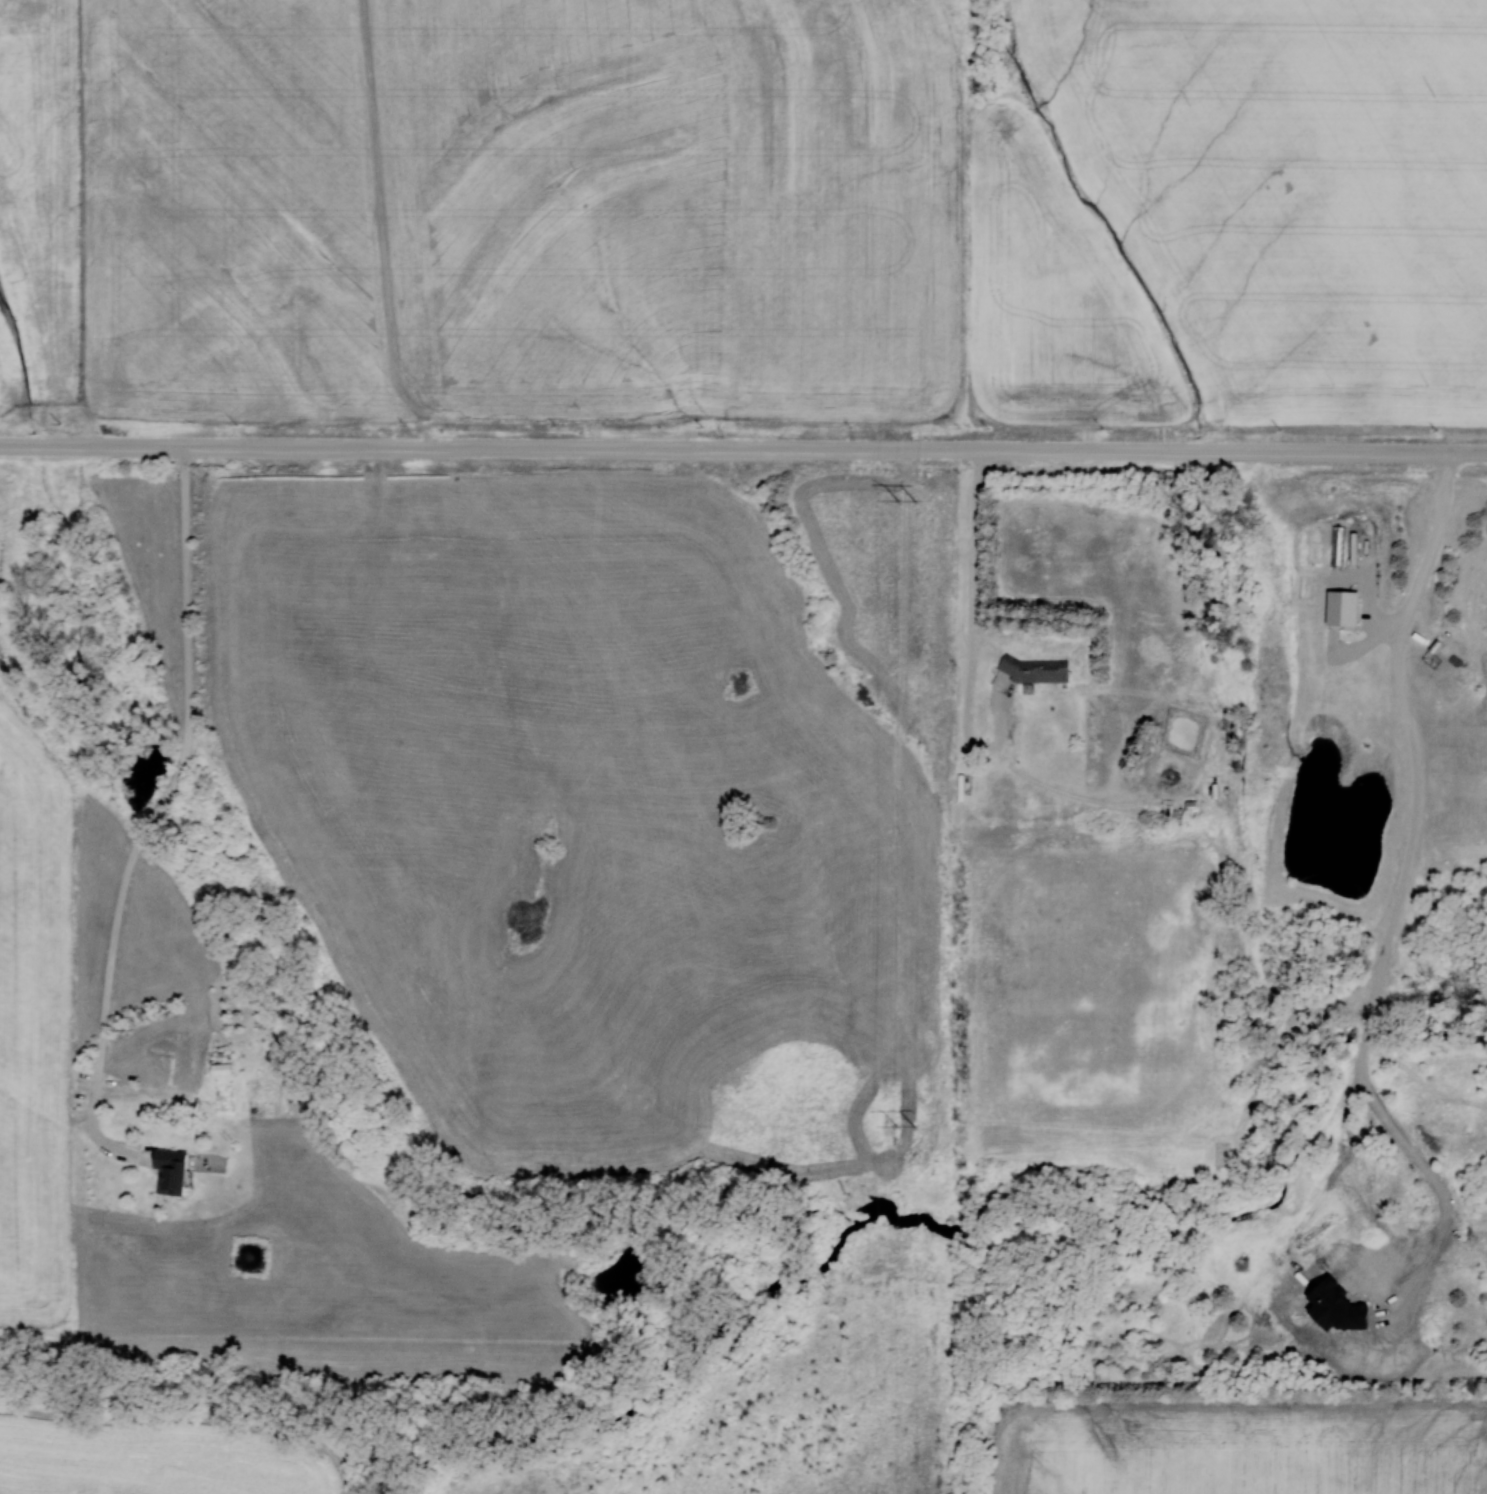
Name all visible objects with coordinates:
road: (743, 450)
power tower: (908, 503)
road: (1425, 577)
road: (971, 630)
building: (1033, 669)
building: (958, 787)
building: (1024, 800)
road: (152, 817)
road: (1383, 964)
power tower: (910, 1132)
building: (179, 1172)

